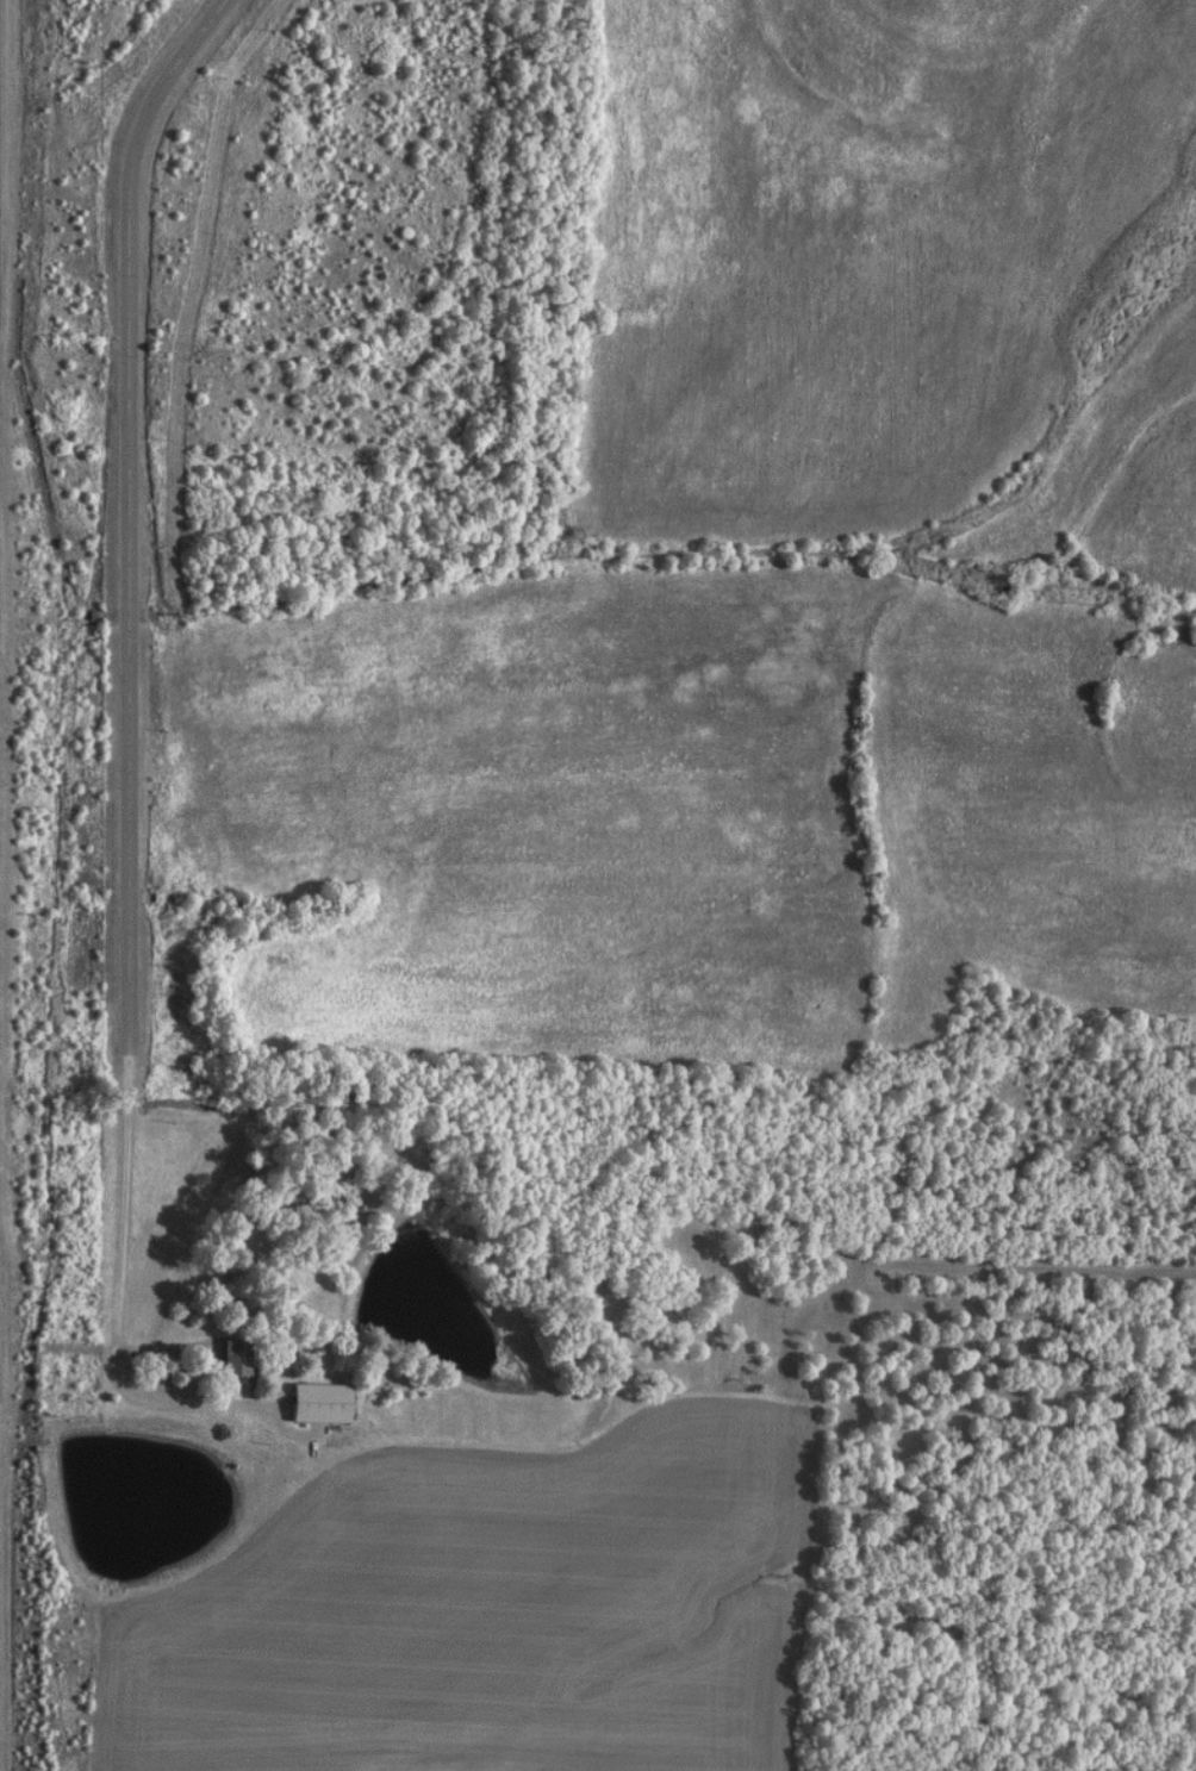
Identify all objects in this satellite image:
road: (123, 674)
building: (230, 1359)
building: (313, 1404)

